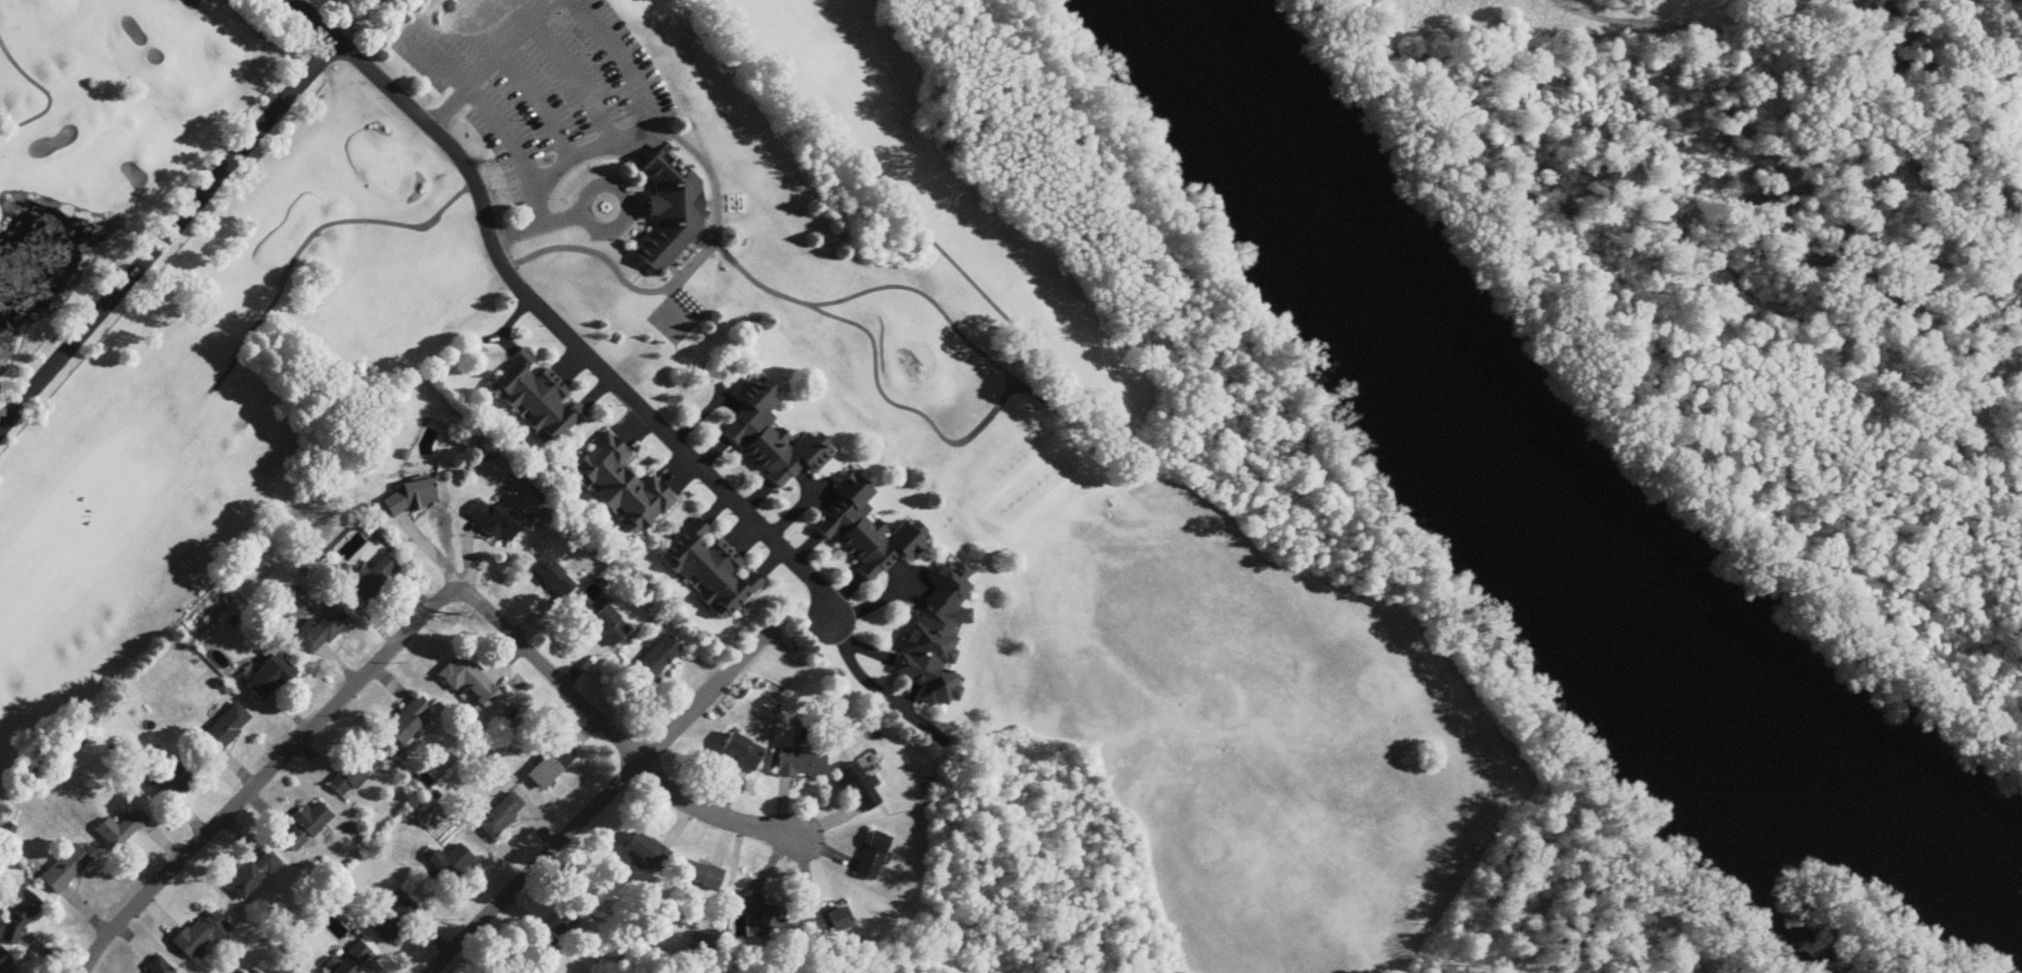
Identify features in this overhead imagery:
road: (513, 12)
road: (309, 22)
road: (355, 23)
road: (490, 63)
parking lot: (544, 72)
road: (575, 79)
road: (466, 87)
road: (537, 106)
road: (618, 142)
building: (670, 213)
road: (568, 216)
road: (165, 233)
road: (682, 275)
road: (566, 340)
building: (537, 399)
building: (772, 438)
park: (1140, 478)
building: (622, 486)
building: (409, 499)
river: (1531, 506)
building: (495, 522)
building: (867, 528)
building: (709, 571)
building: (552, 577)
building: (373, 579)
road: (870, 600)
building: (609, 626)
building: (320, 632)
building: (937, 636)
building: (657, 659)
building: (270, 678)
building: (468, 681)
road: (864, 690)
building: (408, 722)
building: (223, 731)
road: (618, 738)
building: (742, 751)
building: (551, 764)
building: (800, 765)
road: (264, 773)
building: (354, 775)
building: (174, 779)
building: (859, 788)
road: (600, 797)
building: (500, 817)
building: (306, 827)
building: (122, 830)
building: (647, 852)
building: (873, 857)
building: (448, 866)
building: (66, 870)
building: (254, 875)
building: (699, 876)
building: (762, 912)
building: (20, 915)
building: (392, 921)
building: (832, 923)
building: (554, 934)
building: (200, 937)
building: (706, 948)
building: (348, 961)
building: (4, 962)
building: (158, 967)

